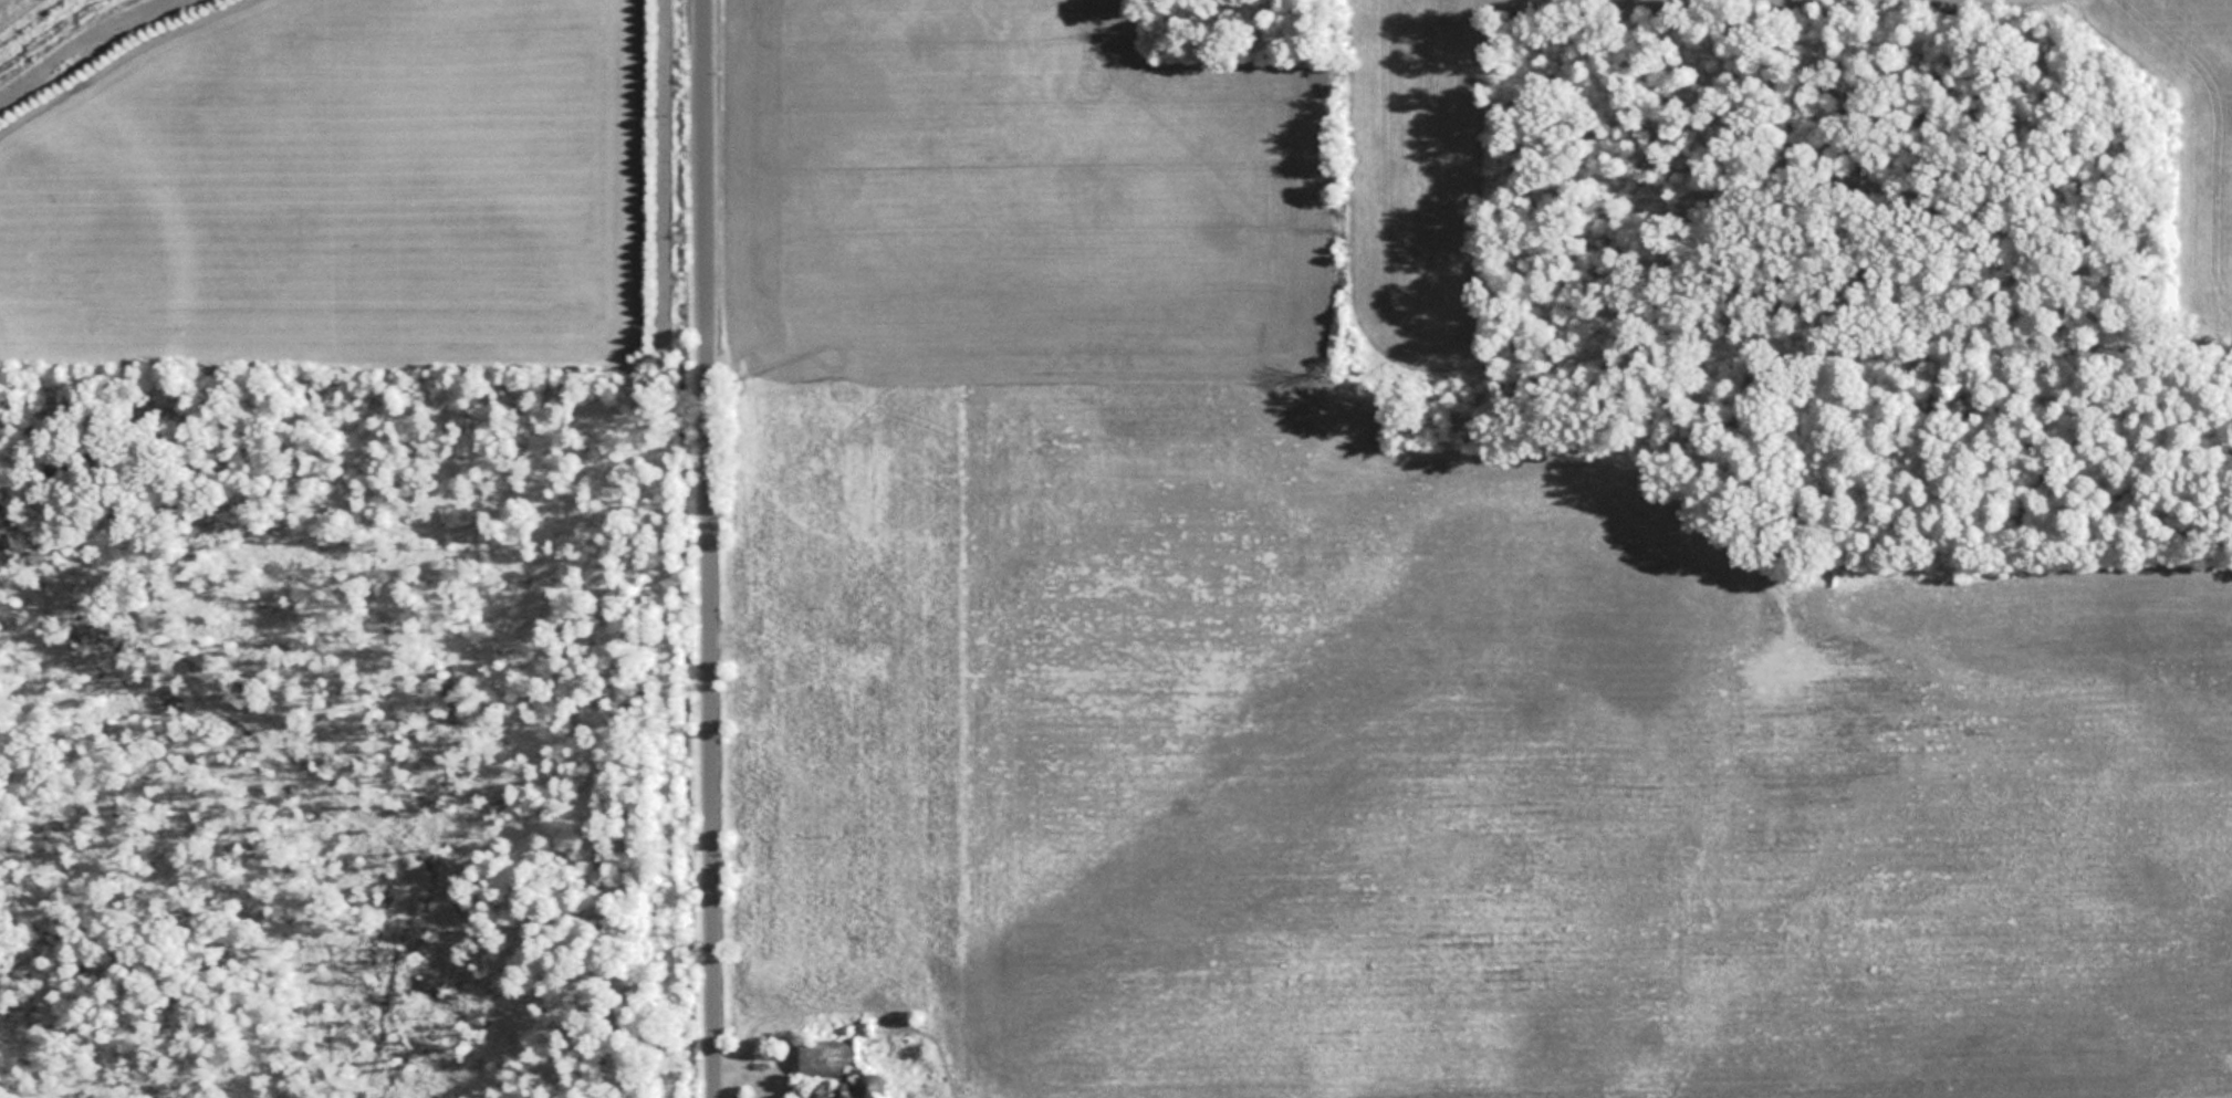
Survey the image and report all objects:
road: (711, 548)
building: (826, 1055)
building: (870, 1086)
building: (817, 1089)
building: (843, 1090)

